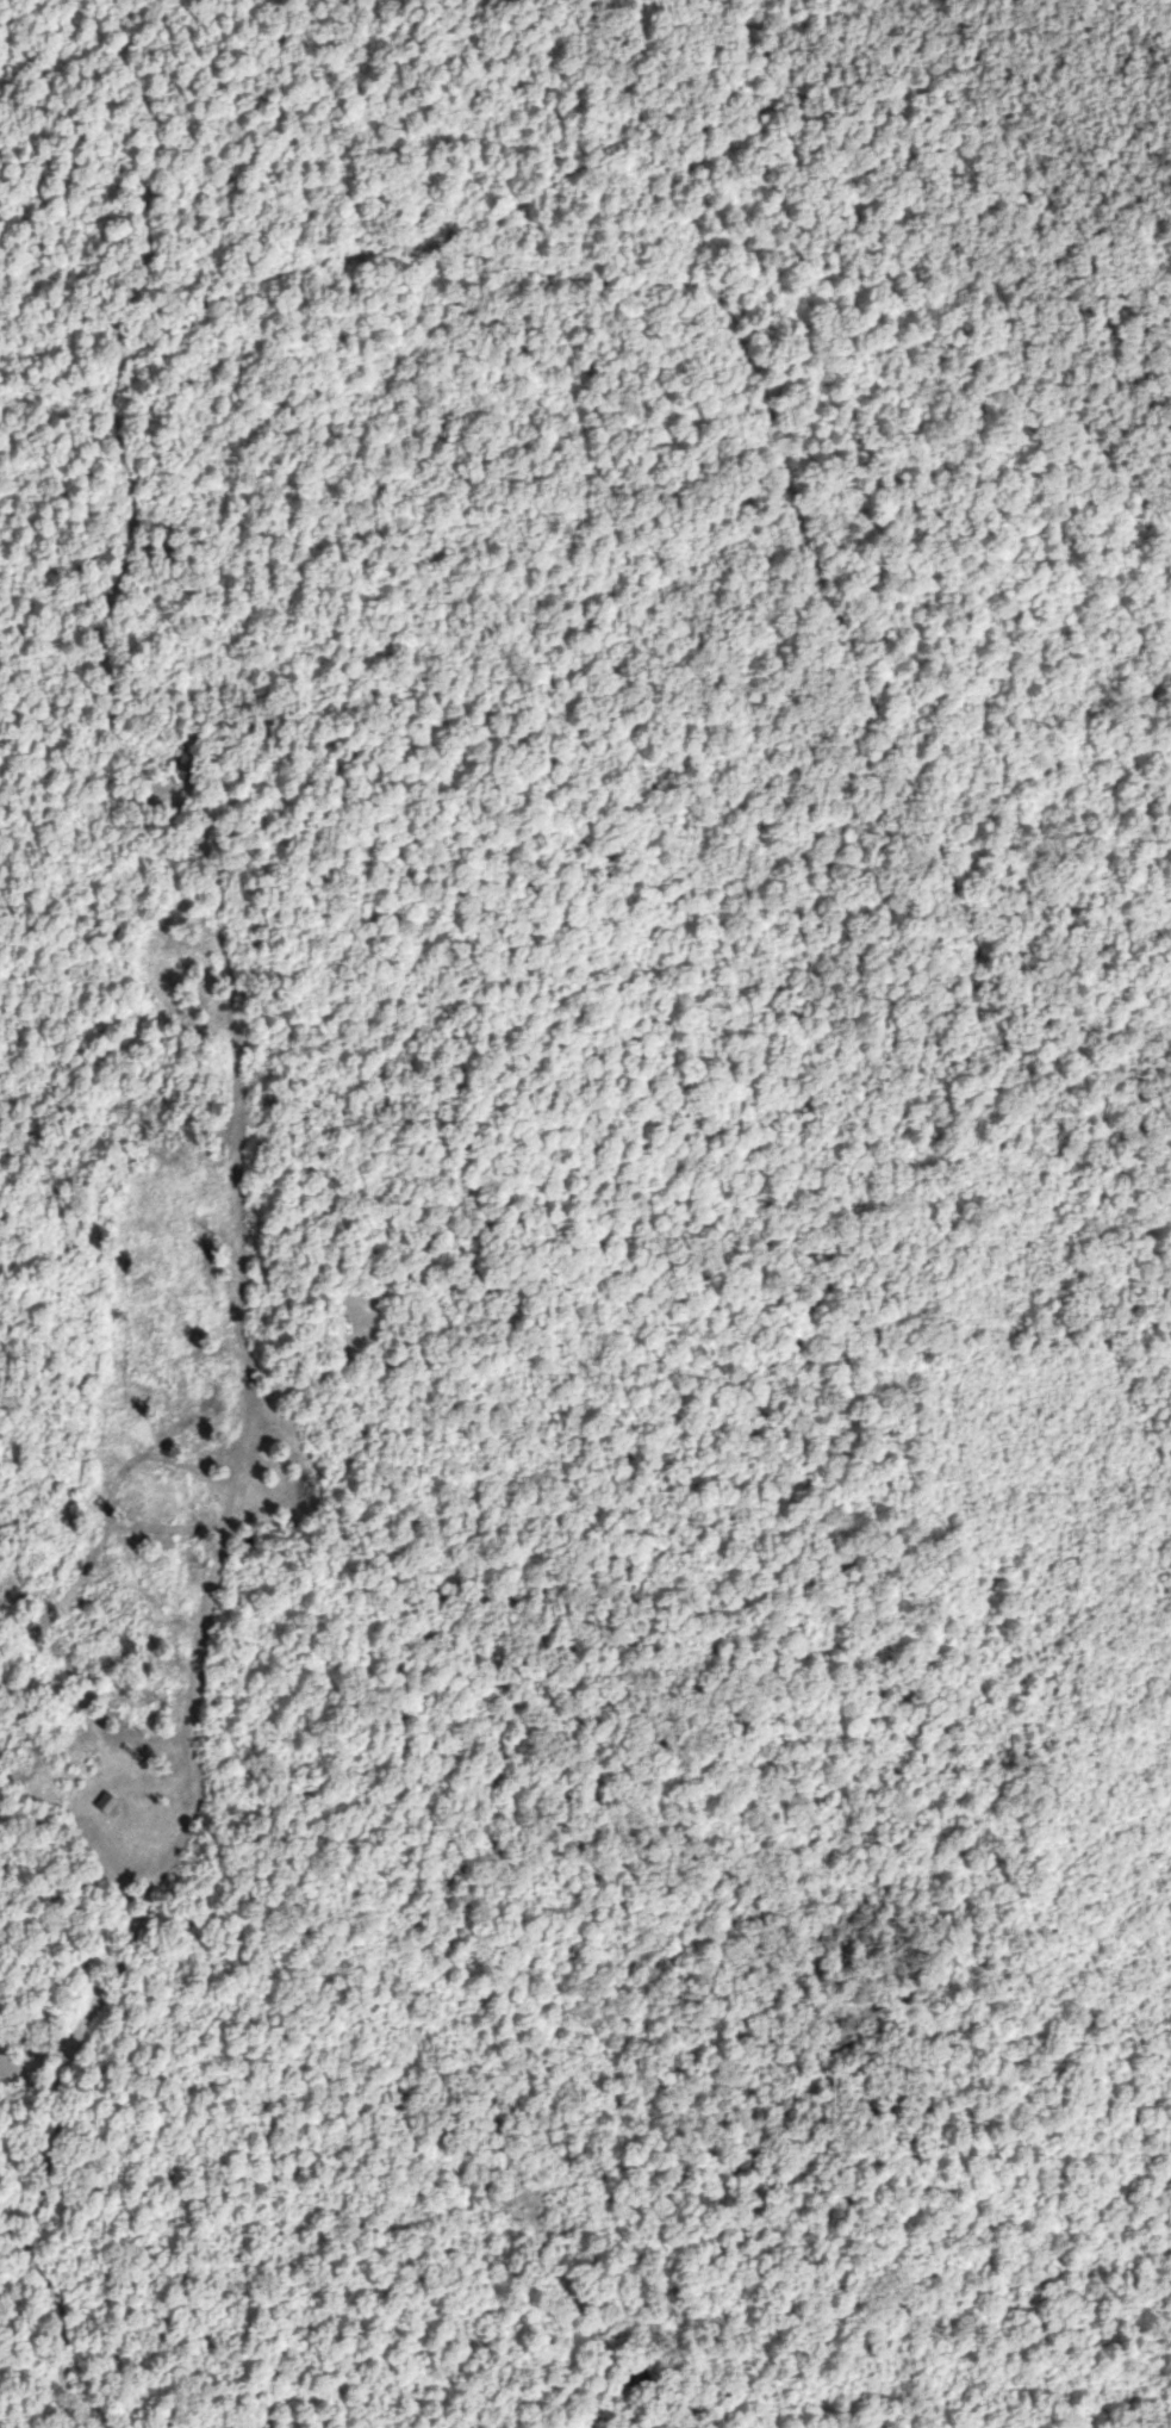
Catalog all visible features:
road: (990, 27)

